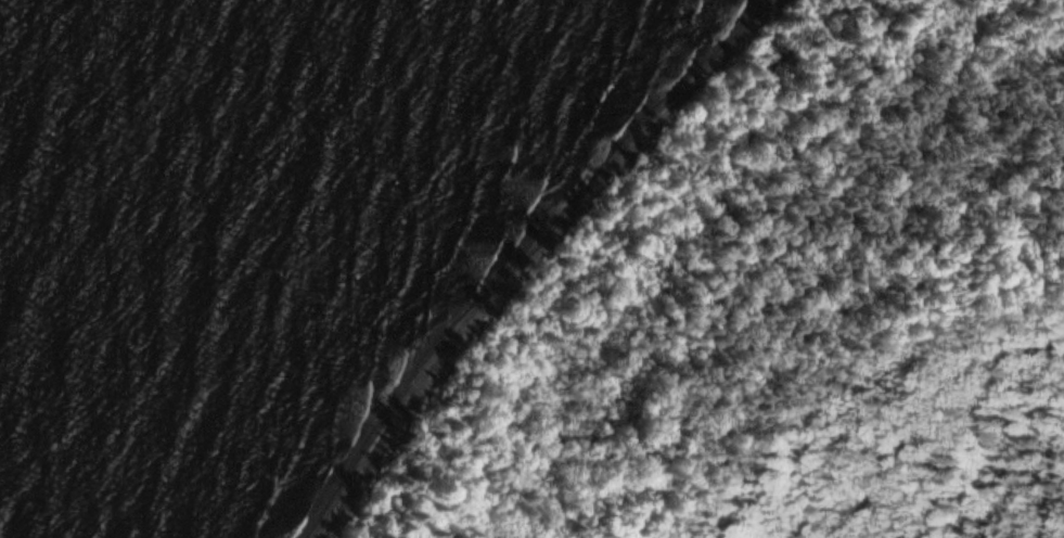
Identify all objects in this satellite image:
road: (931, 412)

